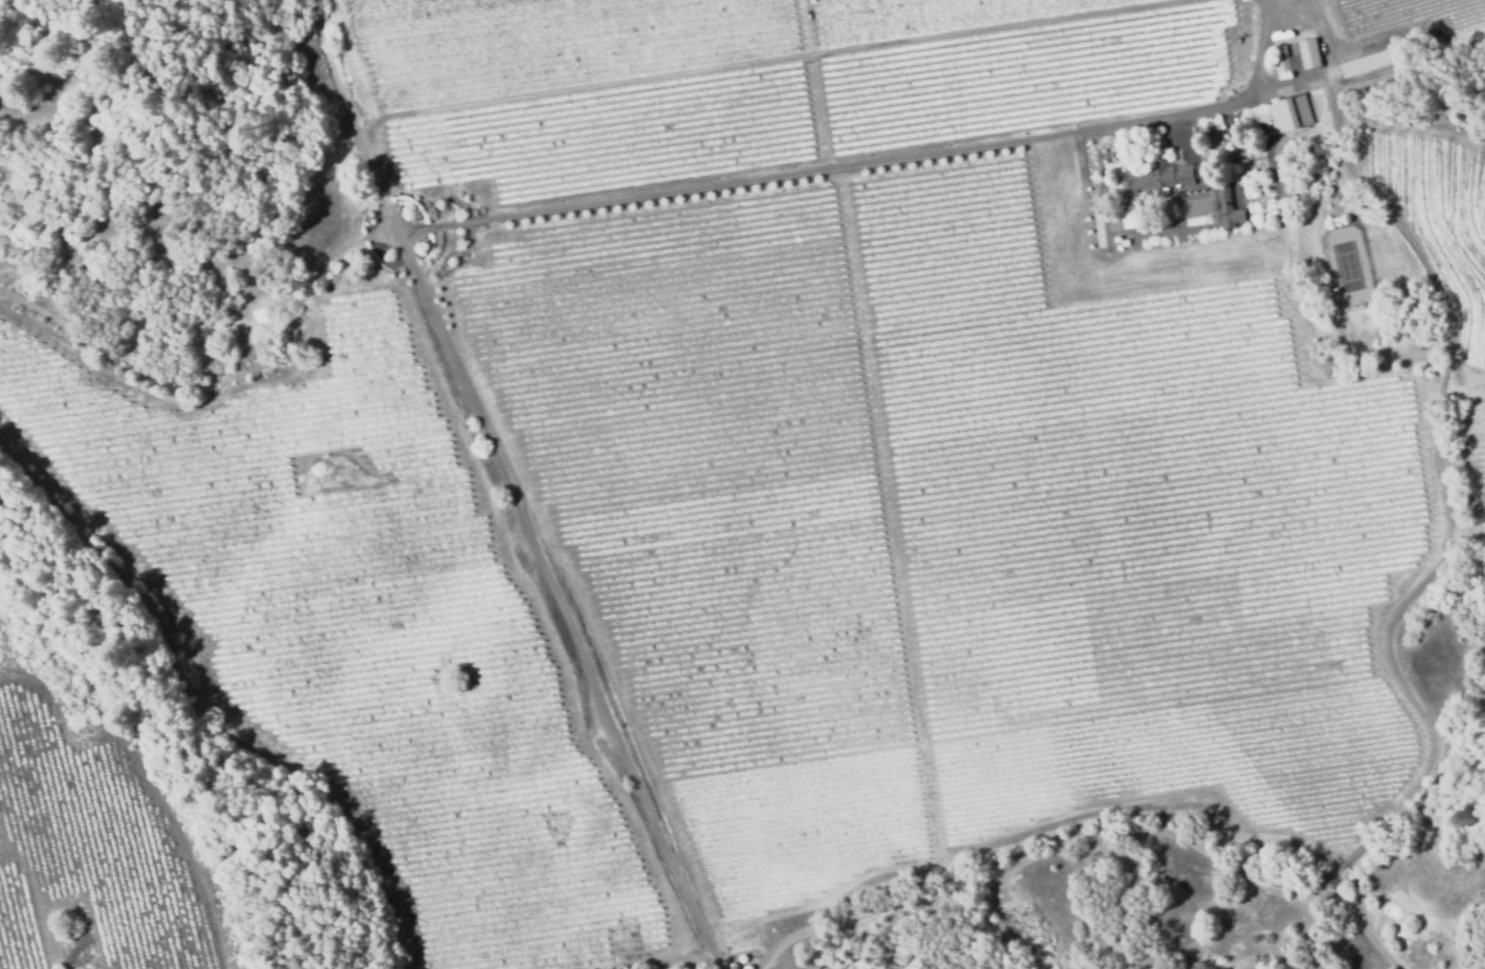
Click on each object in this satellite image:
building: (1305, 52)
road: (749, 58)
building: (1284, 59)
building: (1372, 62)
building: (1280, 114)
building: (1209, 130)
road: (903, 152)
building: (1199, 170)
building: (1153, 181)
building: (1224, 207)
building: (1131, 220)
road: (508, 486)
road: (1087, 835)

